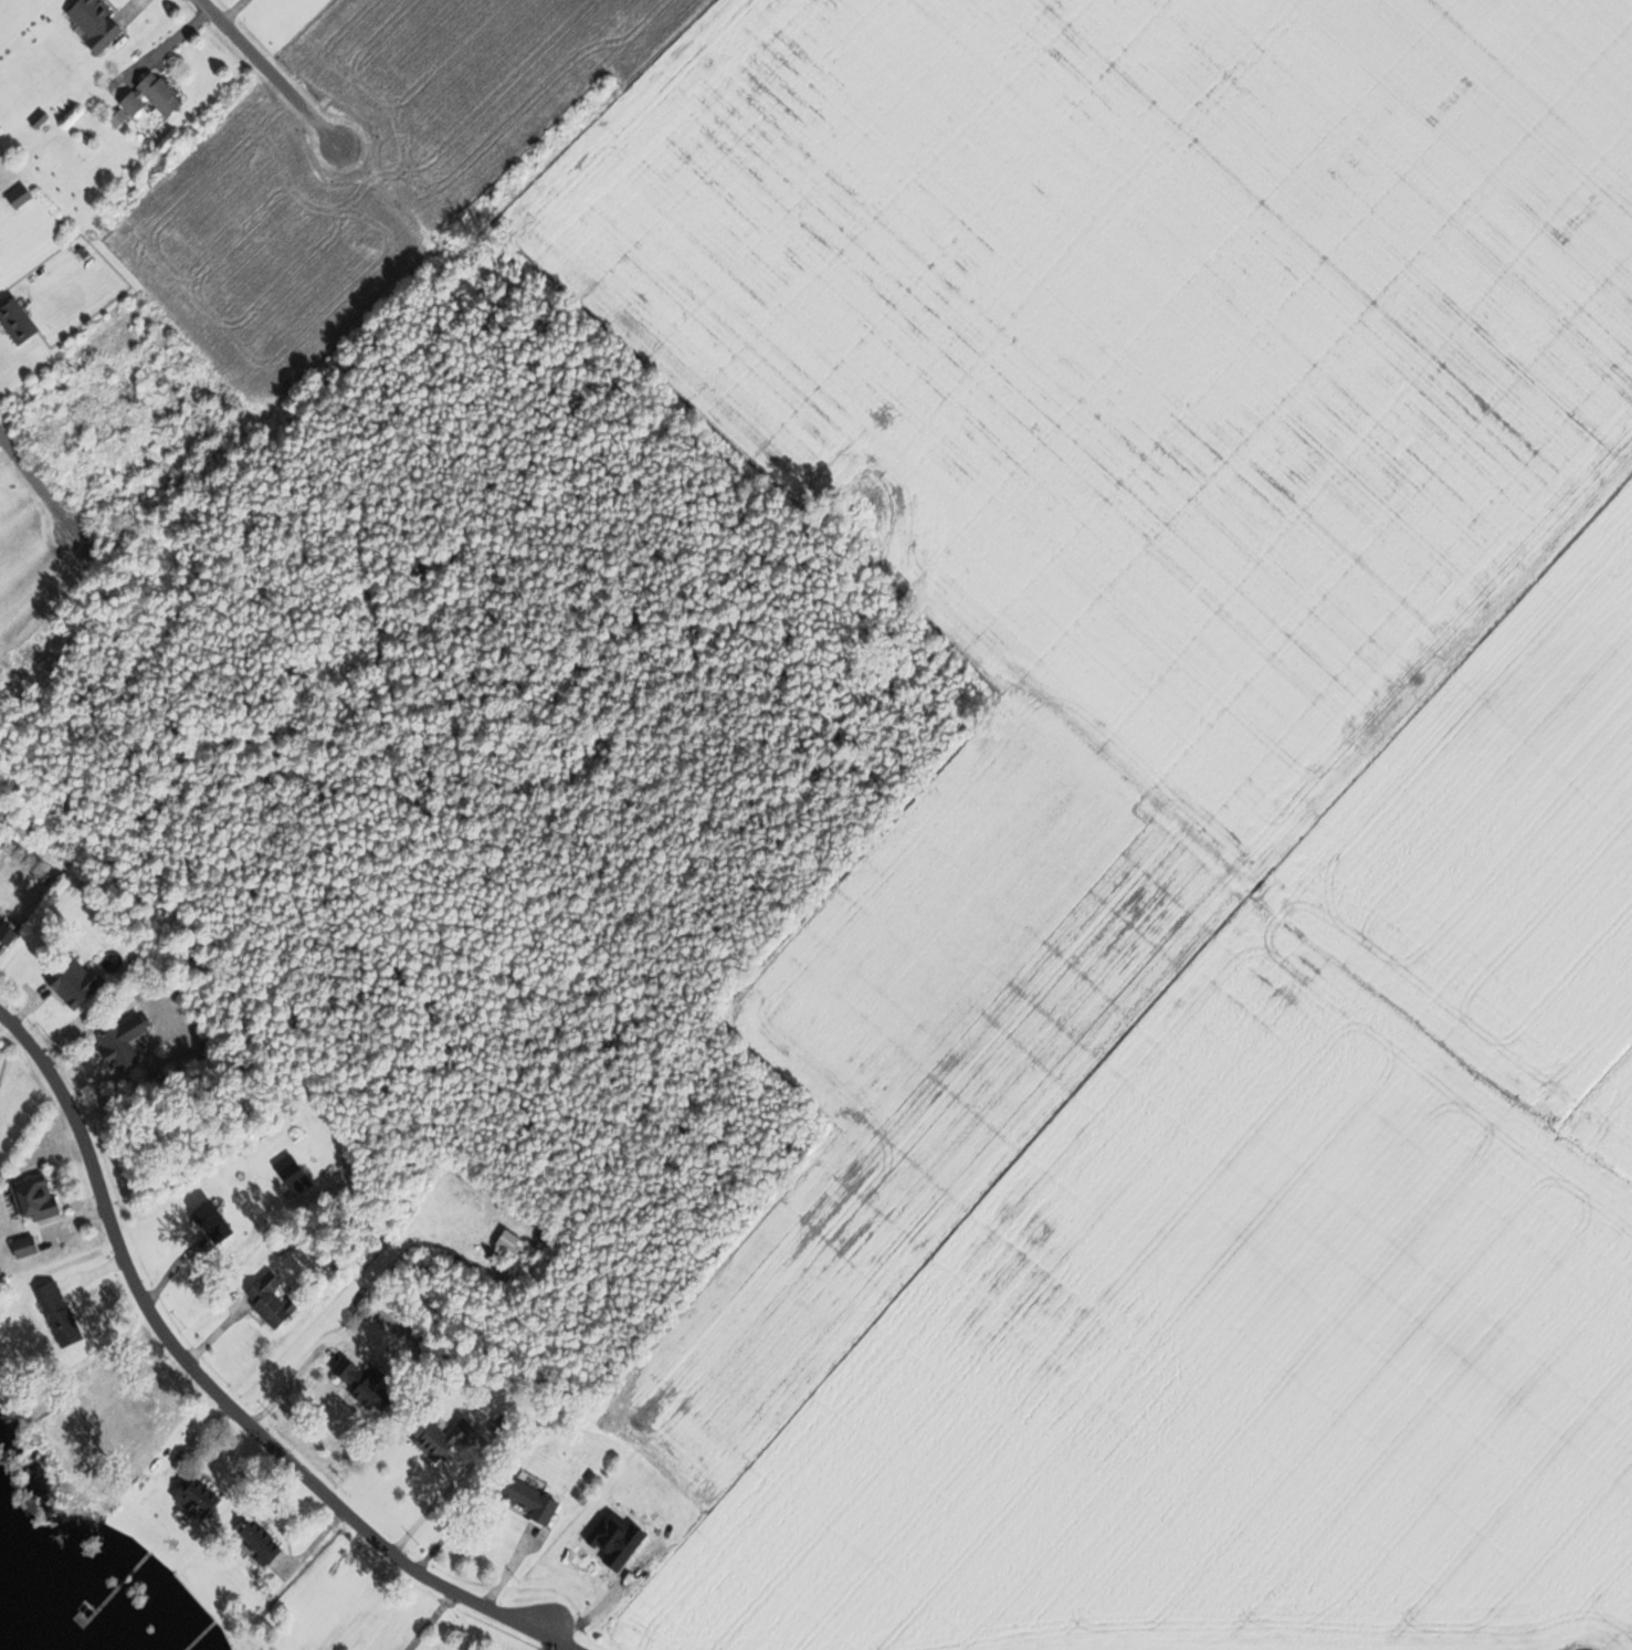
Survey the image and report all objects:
building: (92, 24)
road: (269, 72)
building: (147, 96)
building: (15, 197)
building: (14, 322)
road: (45, 486)
building: (4, 935)
building: (70, 981)
building: (120, 1041)
building: (31, 1197)
building: (201, 1215)
building: (505, 1243)
building: (21, 1247)
building: (266, 1299)
building: (54, 1313)
building: (354, 1383)
road: (288, 1387)
road: (222, 1397)
building: (435, 1438)
building: (191, 1497)
building: (524, 1501)
building: (254, 1541)
road: (432, 1620)
road: (565, 1649)

